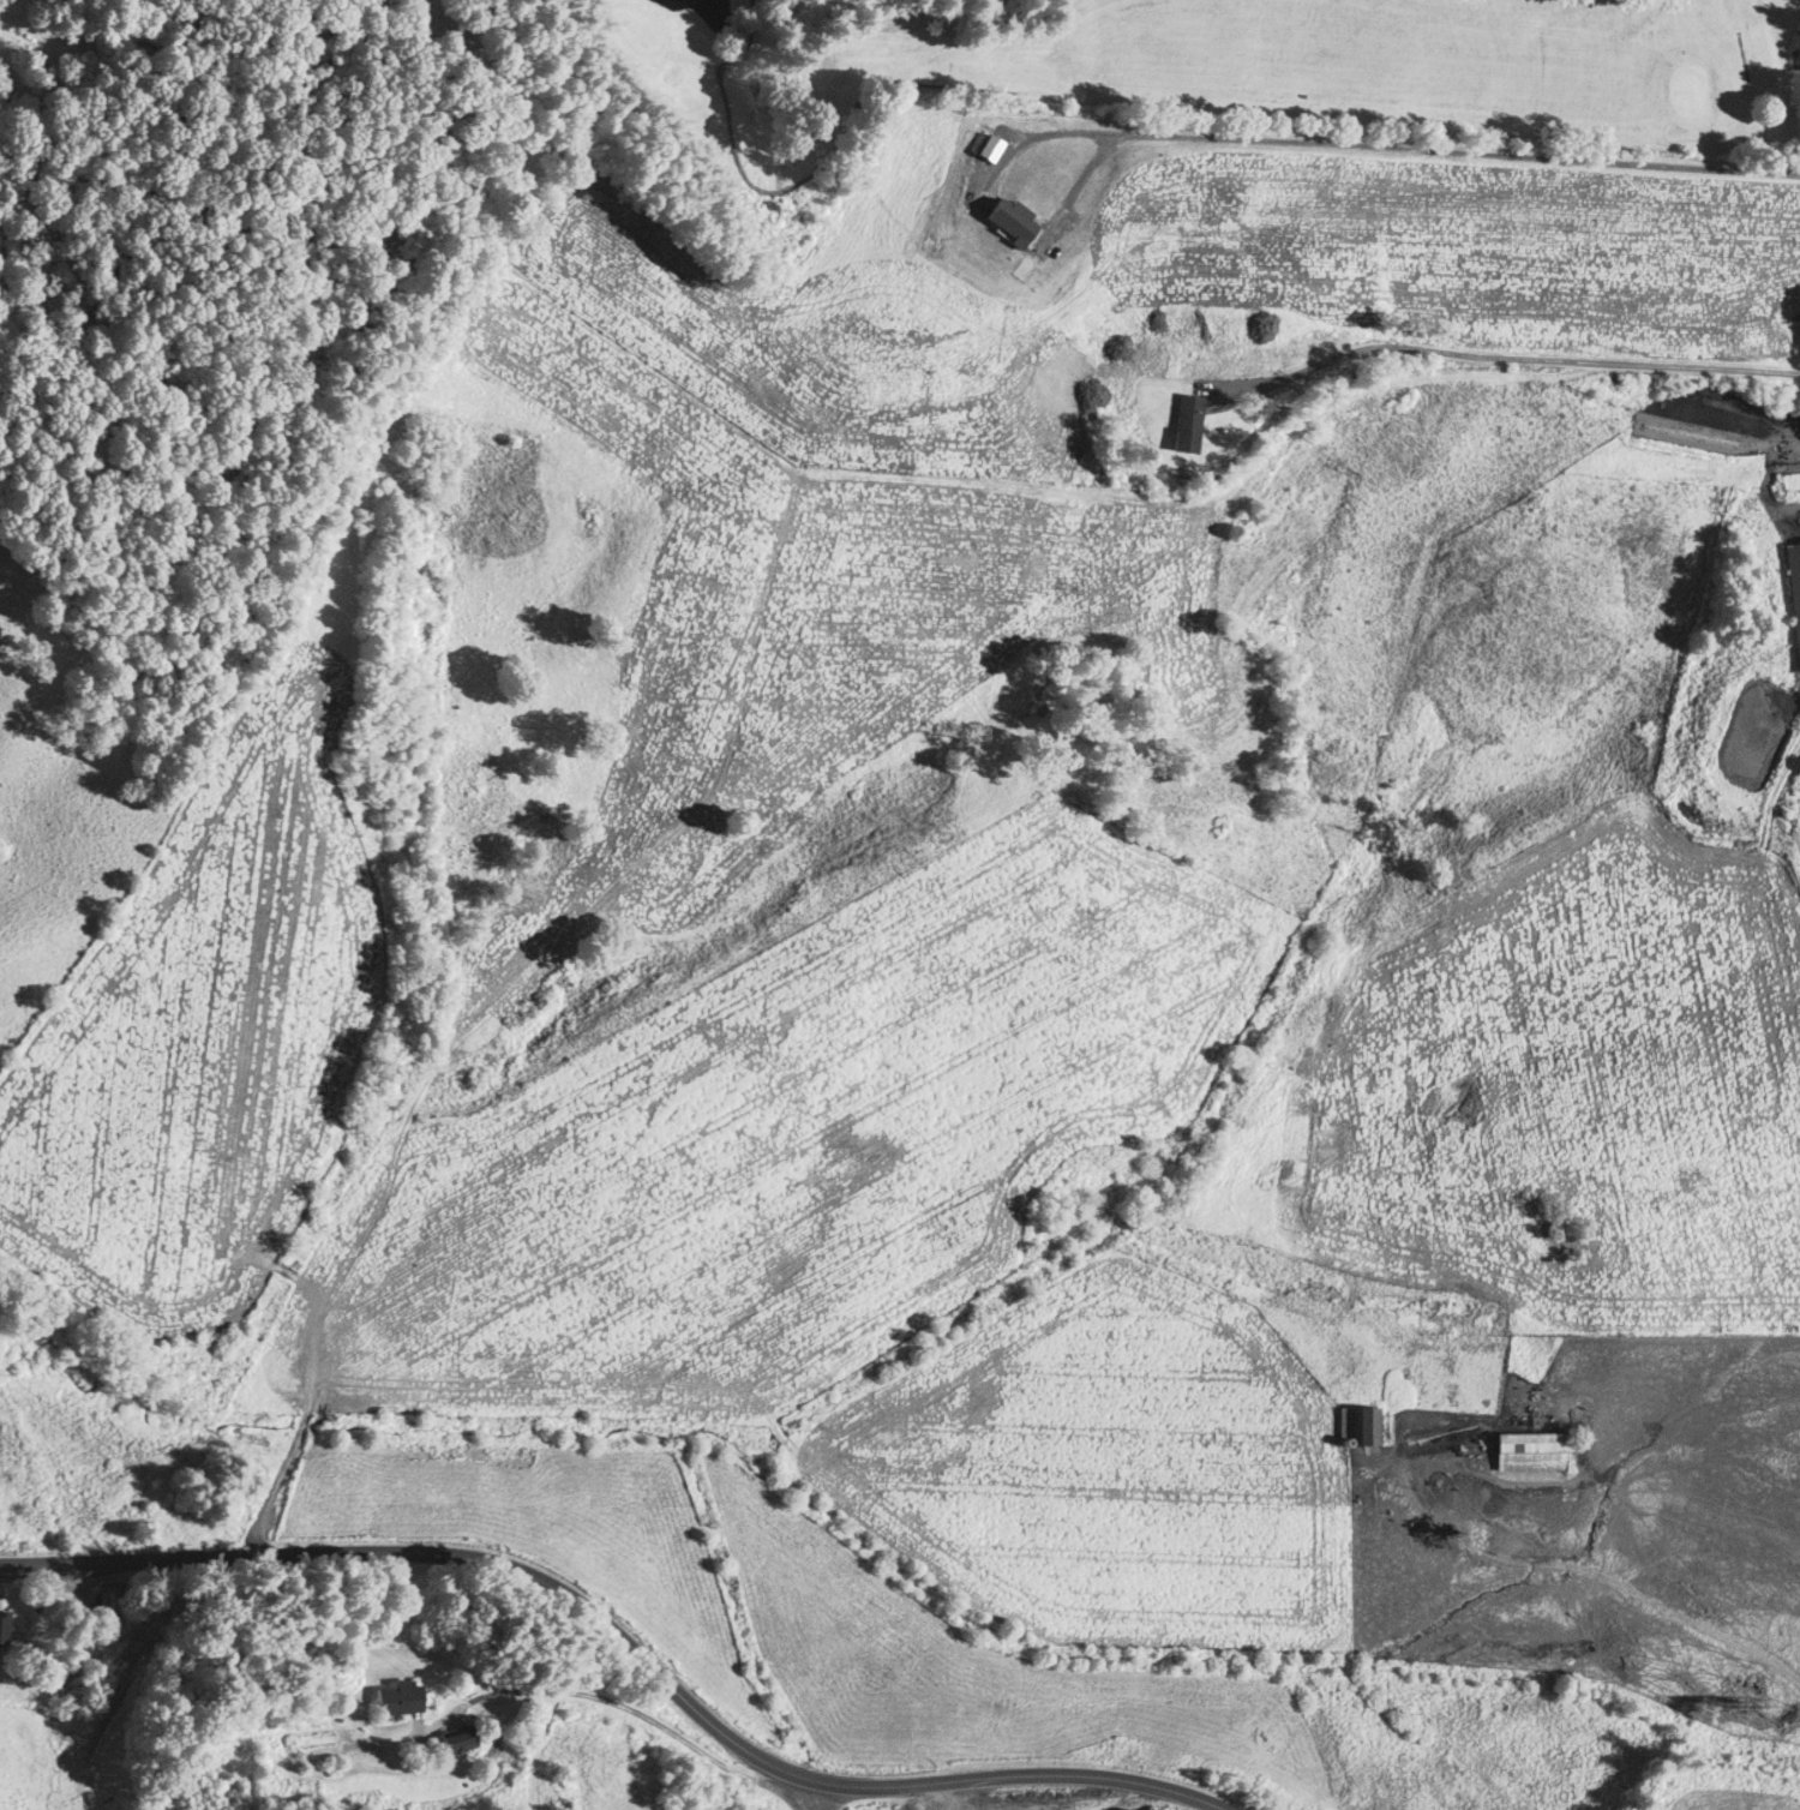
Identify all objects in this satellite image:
park: (1128, 78)
building: (1184, 422)
building: (1794, 594)
building: (1362, 1424)
building: (1530, 1450)
building: (109, 1600)
building: (1, 1626)
road: (626, 1643)
building: (394, 1697)
building: (451, 1738)
road: (950, 1794)

